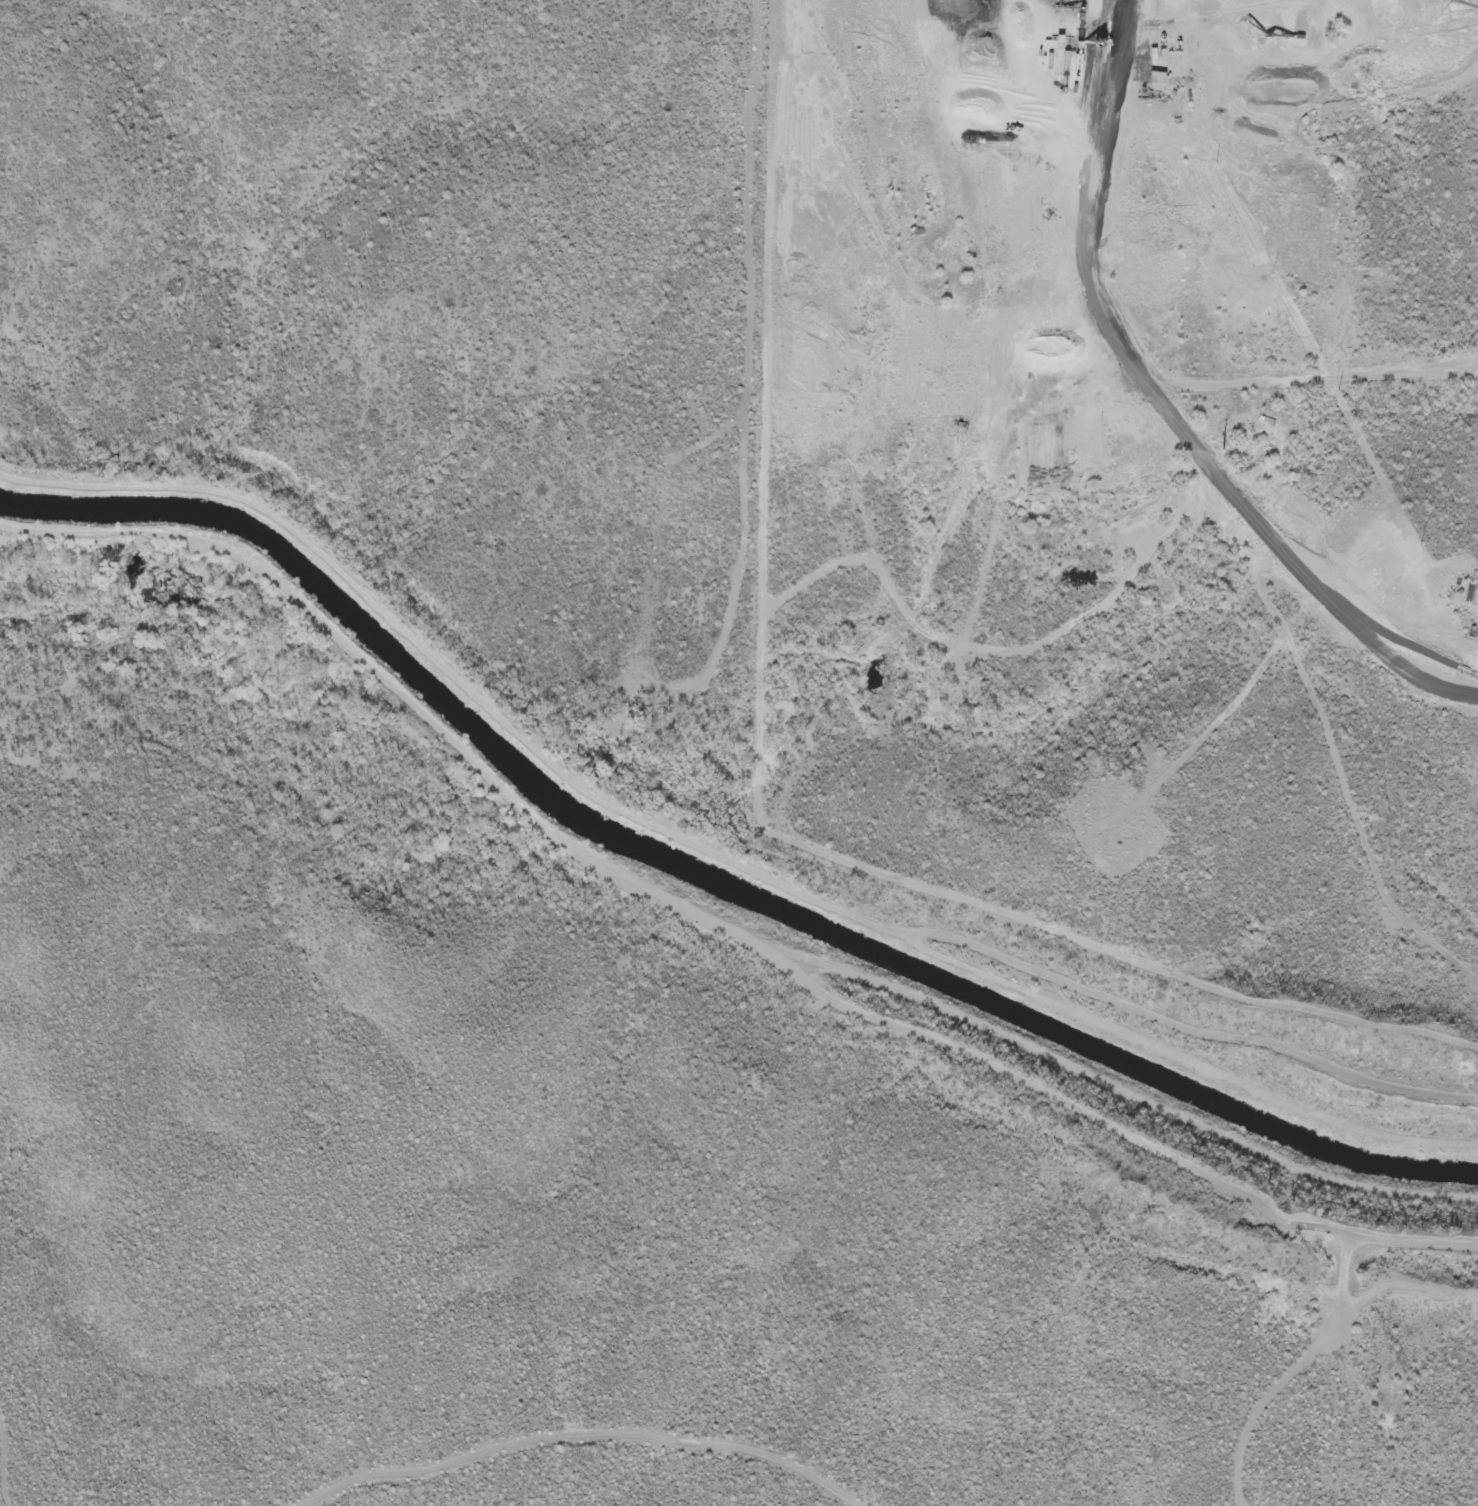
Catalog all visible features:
road: (959, 634)
road: (593, 1439)

